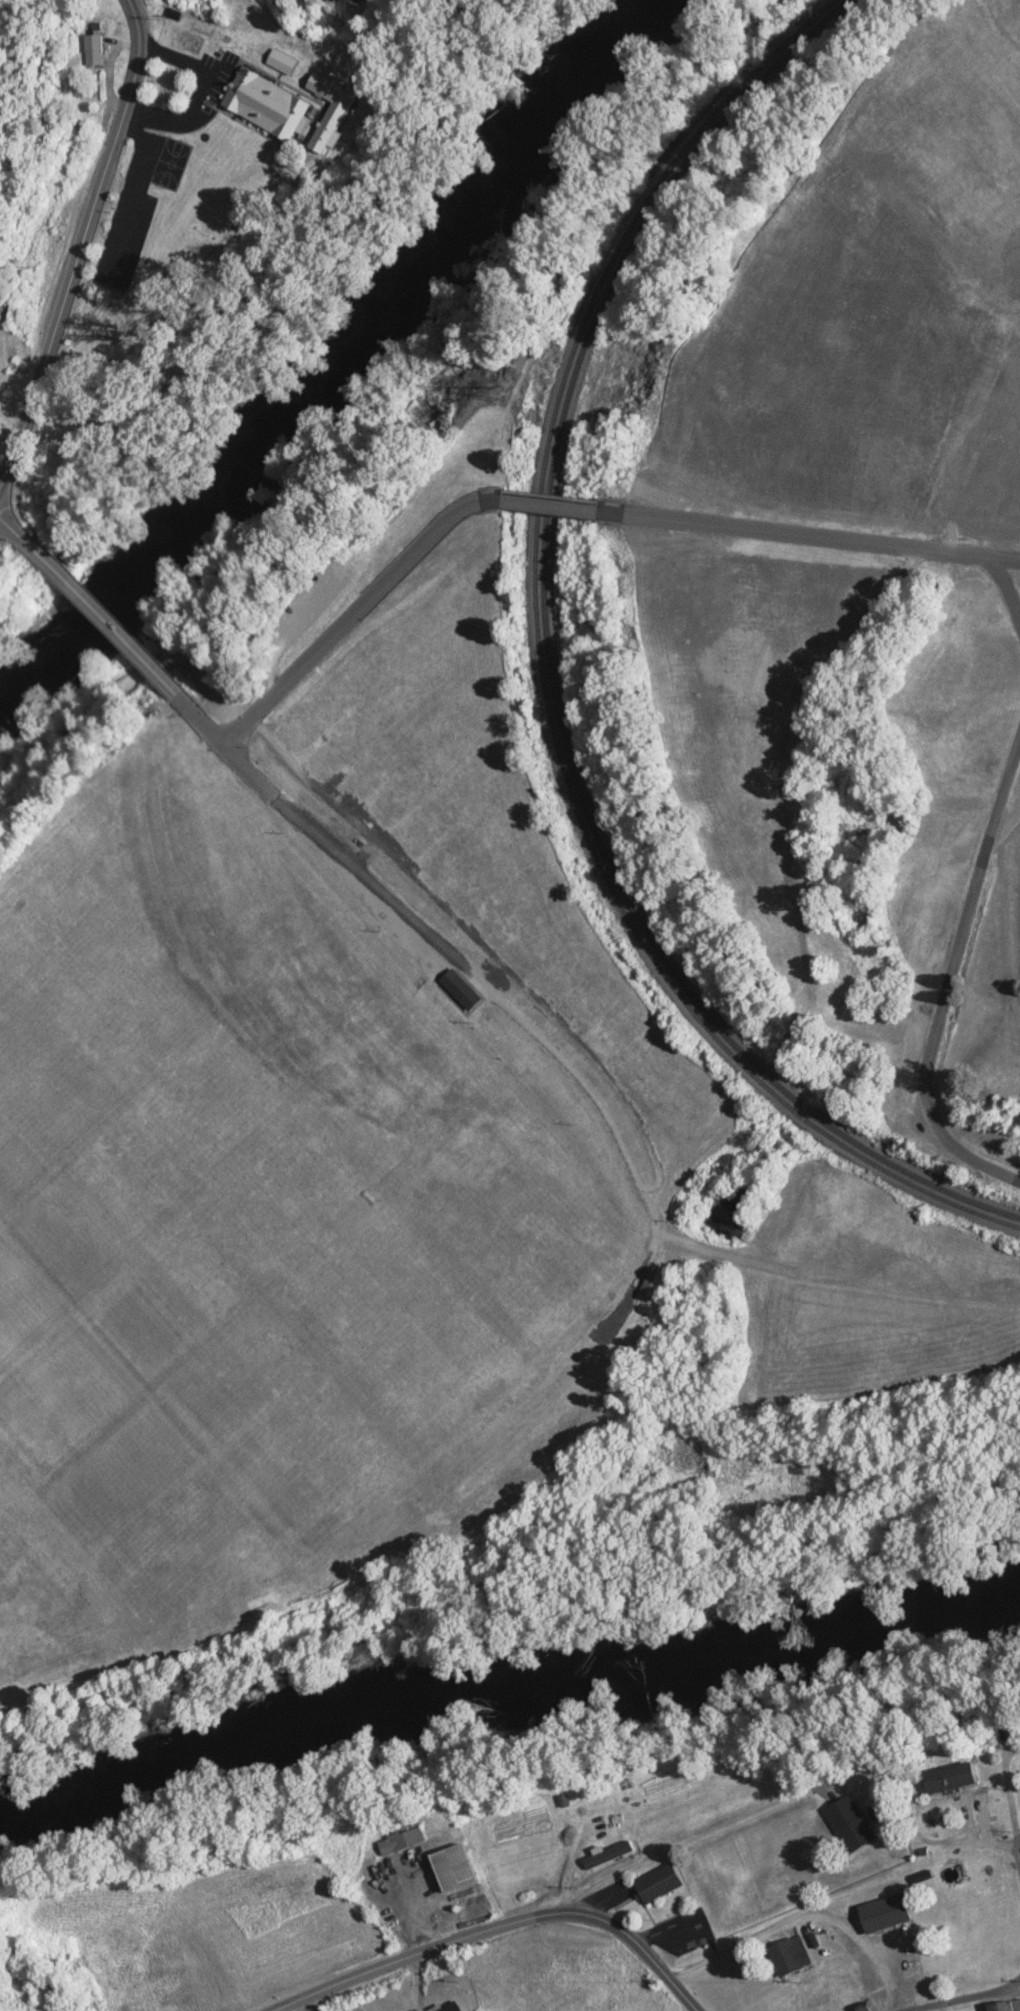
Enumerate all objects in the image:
building: (94, 49)
building: (268, 104)
building: (332, 106)
road: (79, 238)
road: (532, 315)
river: (341, 359)
power tower: (494, 392)
road: (387, 402)
road: (424, 482)
road: (486, 489)
road: (497, 489)
road: (549, 495)
road: (602, 501)
road: (613, 503)
road: (548, 505)
road: (575, 513)
road: (9, 532)
road: (809, 535)
road: (1006, 592)
road: (298, 617)
road: (93, 618)
road: (328, 636)
road: (187, 663)
railway: (546, 668)
railway: (539, 676)
parking lot: (218, 706)
road: (243, 770)
road: (1013, 775)
road: (306, 783)
road: (999, 924)
building: (635, 931)
park: (551, 941)
road: (945, 974)
building: (456, 988)
road: (528, 994)
road: (541, 1042)
road: (977, 1133)
road: (645, 1262)
building: (649, 1283)
road: (543, 1604)
river: (506, 1689)
building: (951, 1778)
building: (851, 1824)
road: (1014, 1853)
building: (608, 1855)
building: (659, 1883)
building: (885, 1913)
road: (778, 1914)
road: (488, 1923)
building: (790, 1954)
road: (958, 1992)
building: (452, 2006)
building: (1006, 2006)

